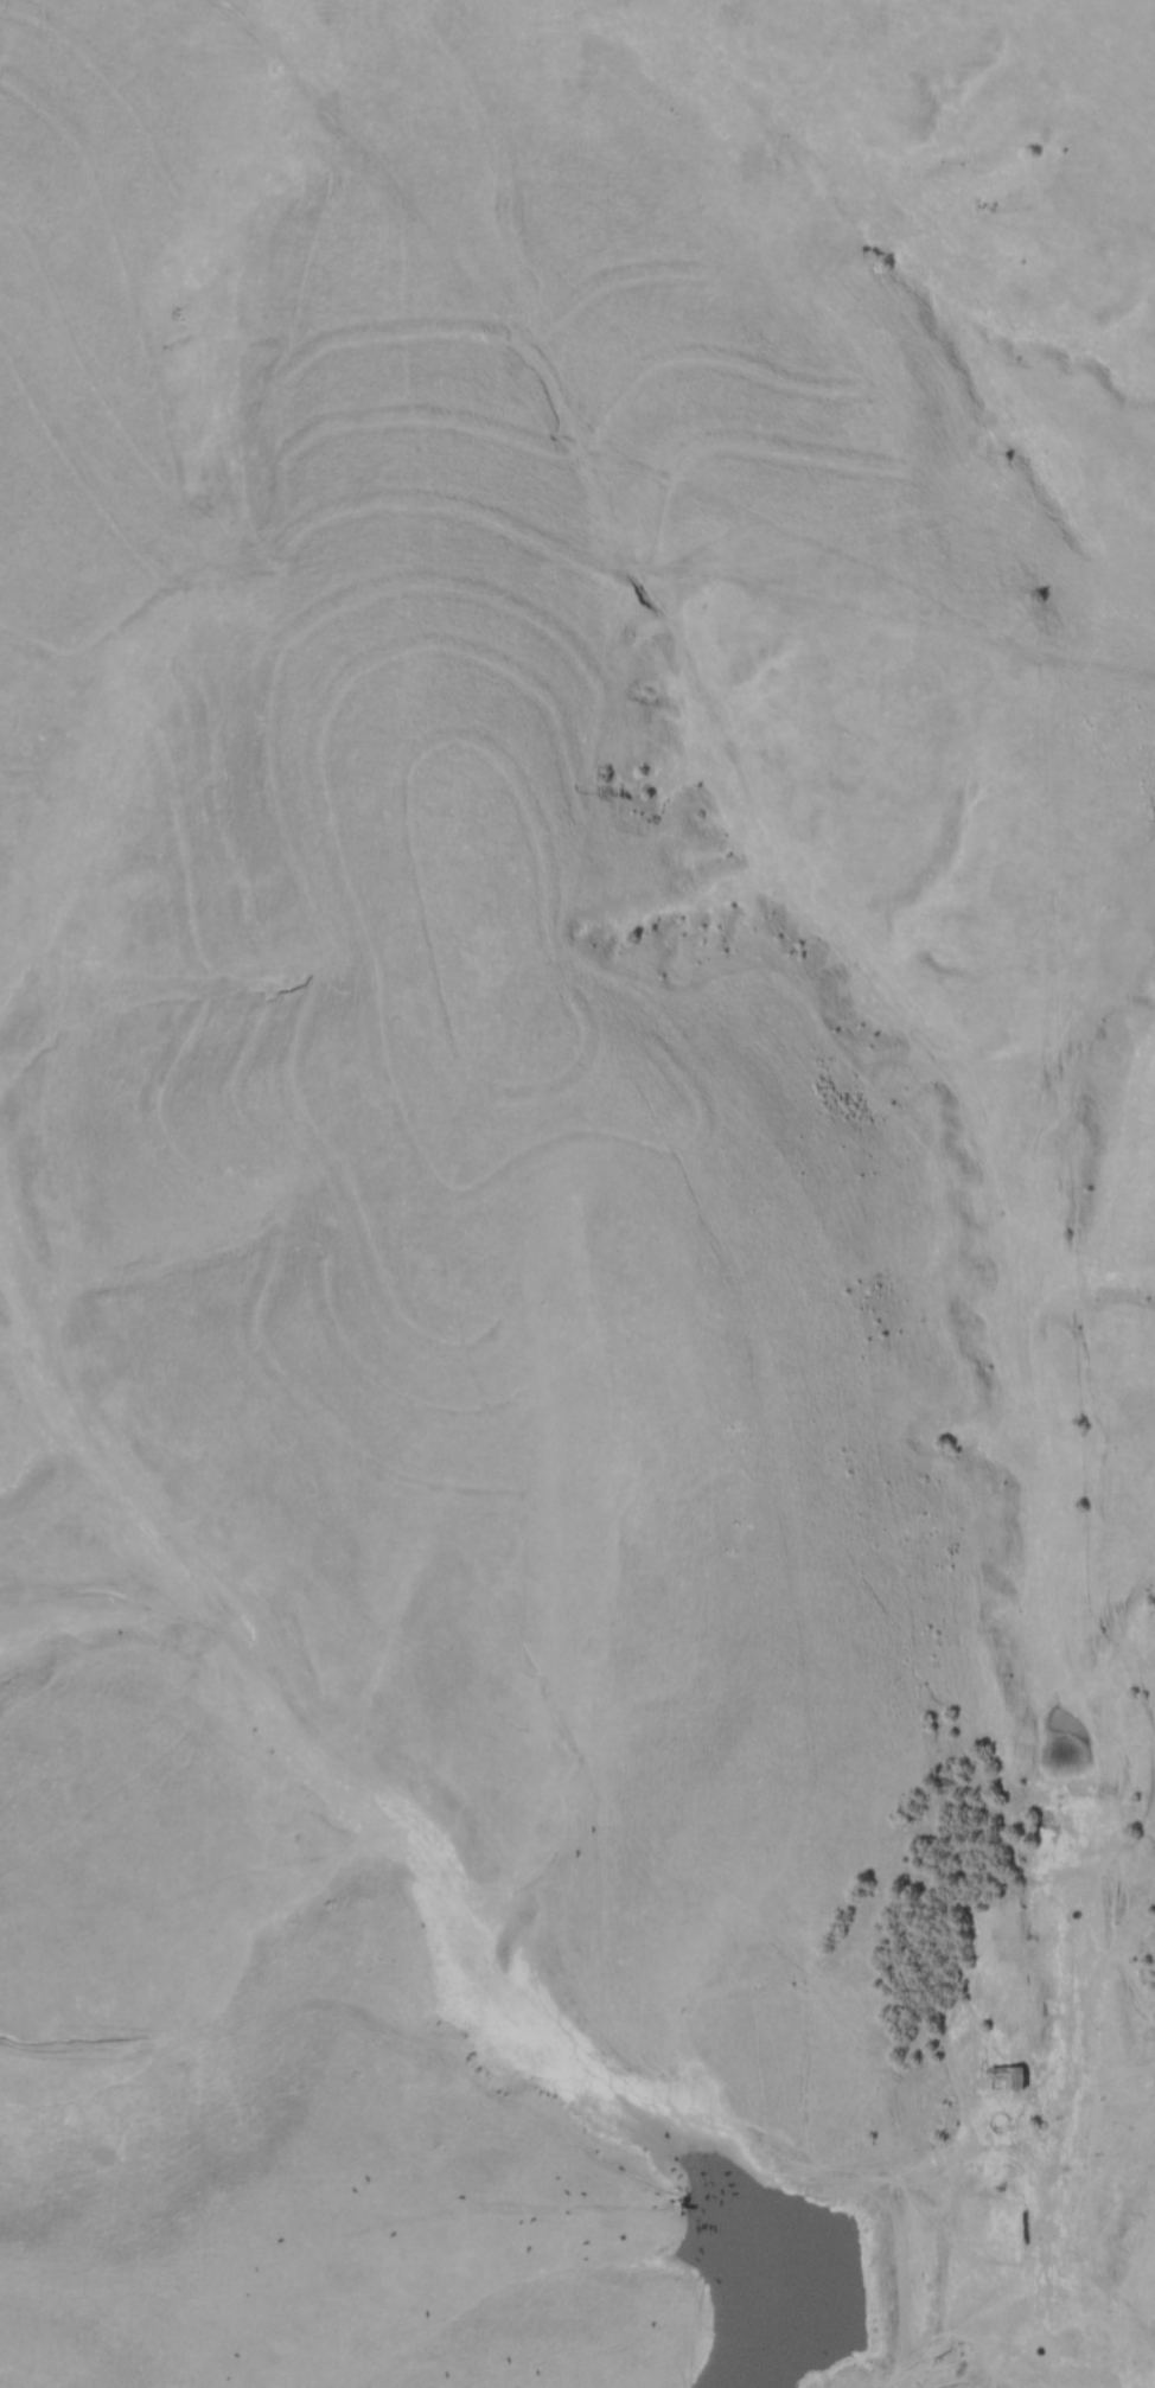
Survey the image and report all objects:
building: (997, 2077)

